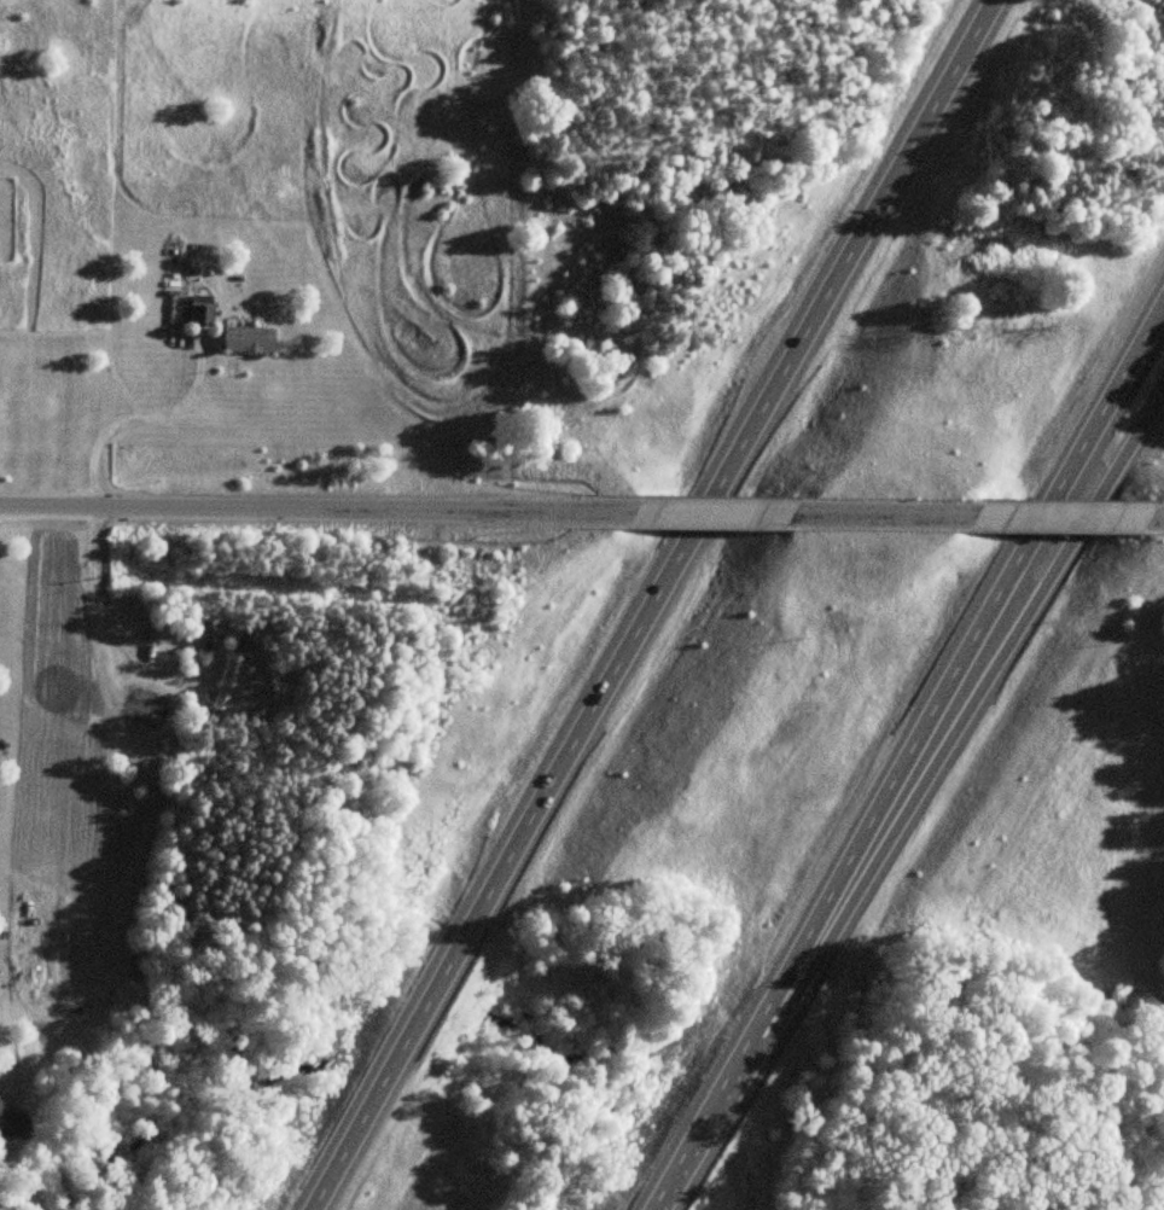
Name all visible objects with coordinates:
building: (200, 312)
building: (248, 341)
road: (129, 418)
road: (292, 510)
road: (698, 512)
road: (891, 513)
road: (1058, 516)
road: (1154, 517)
road: (648, 604)
road: (105, 626)
building: (227, 683)
road: (904, 751)
road: (935, 761)
road: (0, 1020)
building: (11, 1123)

